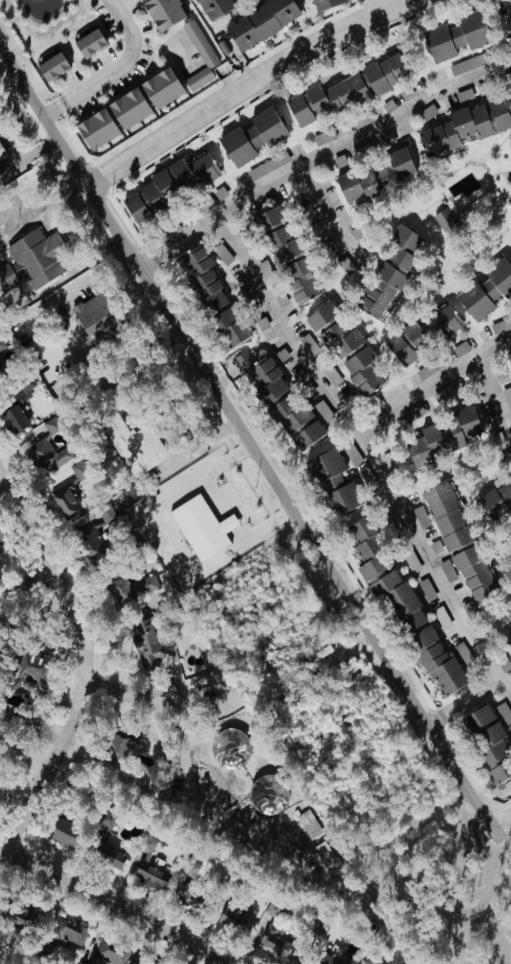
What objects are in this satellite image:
road: (510, 2)
building: (325, 4)
road: (373, 6)
building: (211, 7)
building: (163, 11)
building: (261, 21)
building: (455, 35)
building: (89, 41)
road: (163, 45)
building: (201, 54)
building: (469, 62)
building: (53, 64)
road: (113, 71)
road: (243, 84)
building: (161, 86)
building: (348, 87)
building: (128, 106)
building: (499, 109)
building: (364, 117)
building: (96, 127)
building: (455, 127)
building: (253, 135)
building: (325, 135)
building: (510, 143)
building: (2, 150)
road: (321, 156)
building: (397, 163)
building: (270, 164)
building: (0, 171)
building: (509, 178)
building: (171, 182)
building: (357, 183)
building: (510, 198)
building: (205, 204)
road: (44, 212)
building: (444, 216)
building: (265, 218)
road: (327, 218)
building: (170, 229)
building: (281, 241)
building: (33, 259)
building: (345, 265)
building: (389, 272)
building: (200, 273)
road: (64, 278)
building: (301, 278)
building: (487, 288)
road: (41, 310)
building: (321, 313)
building: (96, 316)
building: (444, 320)
building: (228, 323)
building: (501, 324)
building: (340, 338)
building: (309, 341)
building: (408, 342)
building: (283, 353)
building: (0, 355)
building: (509, 355)
road: (248, 361)
building: (428, 368)
building: (364, 369)
building: (263, 374)
road: (432, 380)
road: (496, 389)
building: (20, 407)
building: (297, 421)
building: (445, 435)
road: (200, 443)
building: (136, 444)
road: (248, 444)
building: (50, 449)
road: (369, 454)
building: (334, 480)
building: (69, 492)
building: (496, 499)
building: (448, 513)
building: (422, 515)
building: (203, 526)
building: (89, 534)
building: (366, 545)
building: (449, 569)
building: (474, 570)
road: (32, 582)
building: (133, 586)
building: (428, 587)
building: (399, 597)
road: (492, 628)
building: (148, 638)
building: (508, 641)
road: (86, 660)
building: (437, 660)
building: (27, 668)
road: (157, 694)
road: (463, 703)
building: (505, 711)
building: (486, 732)
building: (120, 746)
building: (499, 771)
building: (265, 795)
road: (508, 821)
building: (311, 823)
building: (65, 830)
building: (108, 853)
building: (151, 864)
building: (193, 867)
road: (115, 906)
building: (19, 913)
building: (234, 914)
building: (274, 937)
building: (68, 941)
building: (370, 960)

